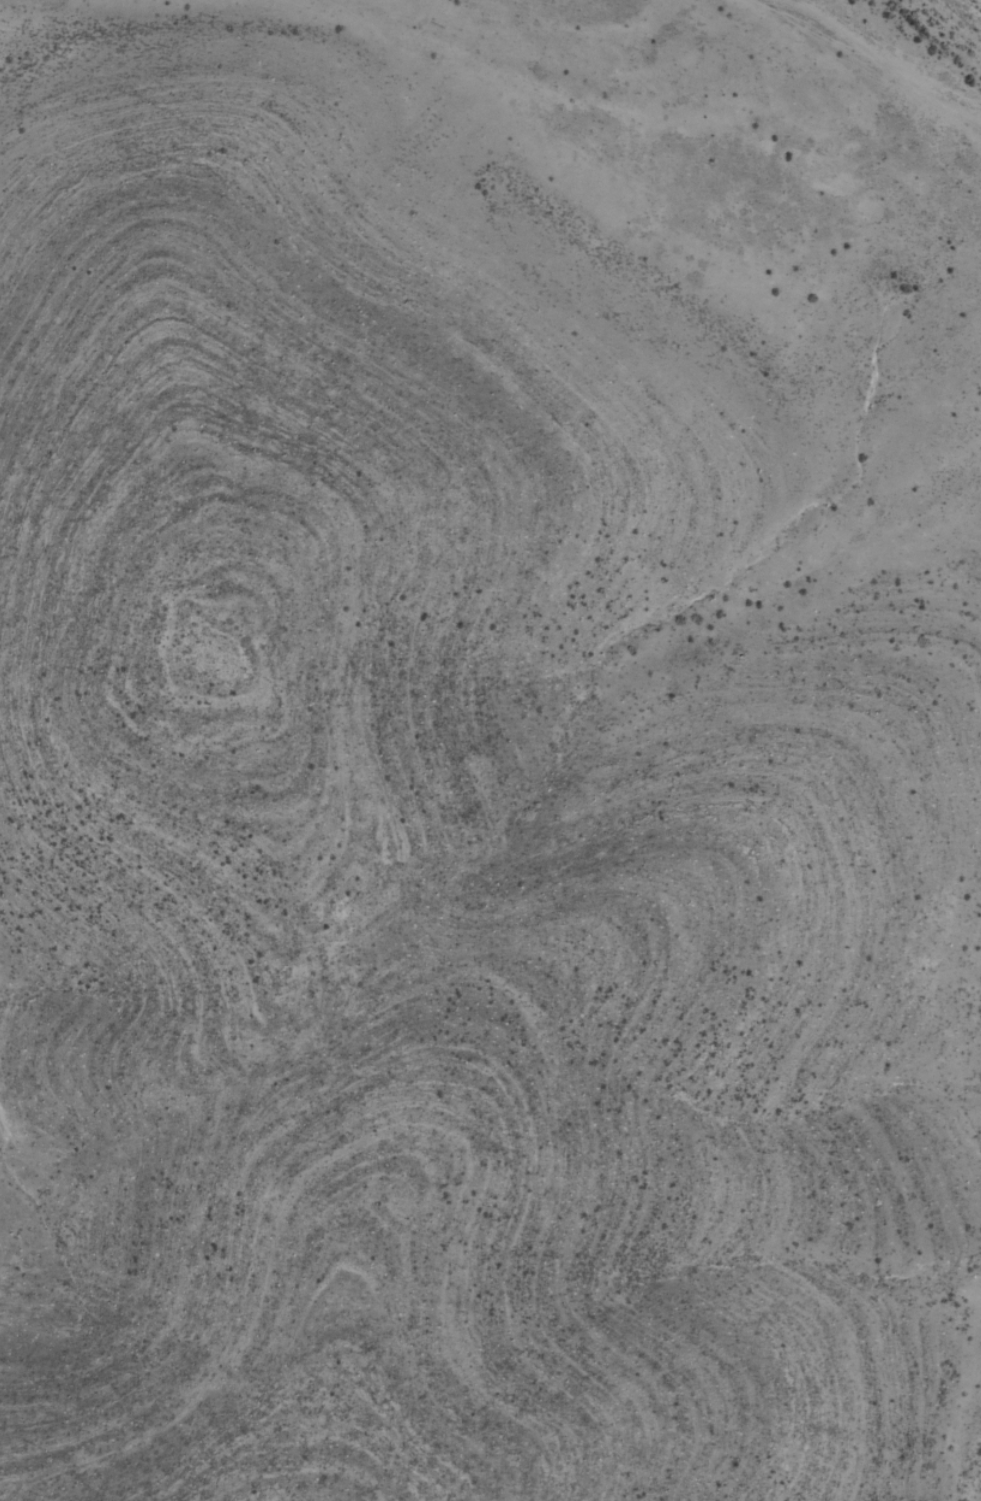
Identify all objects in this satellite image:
road: (742, 91)

